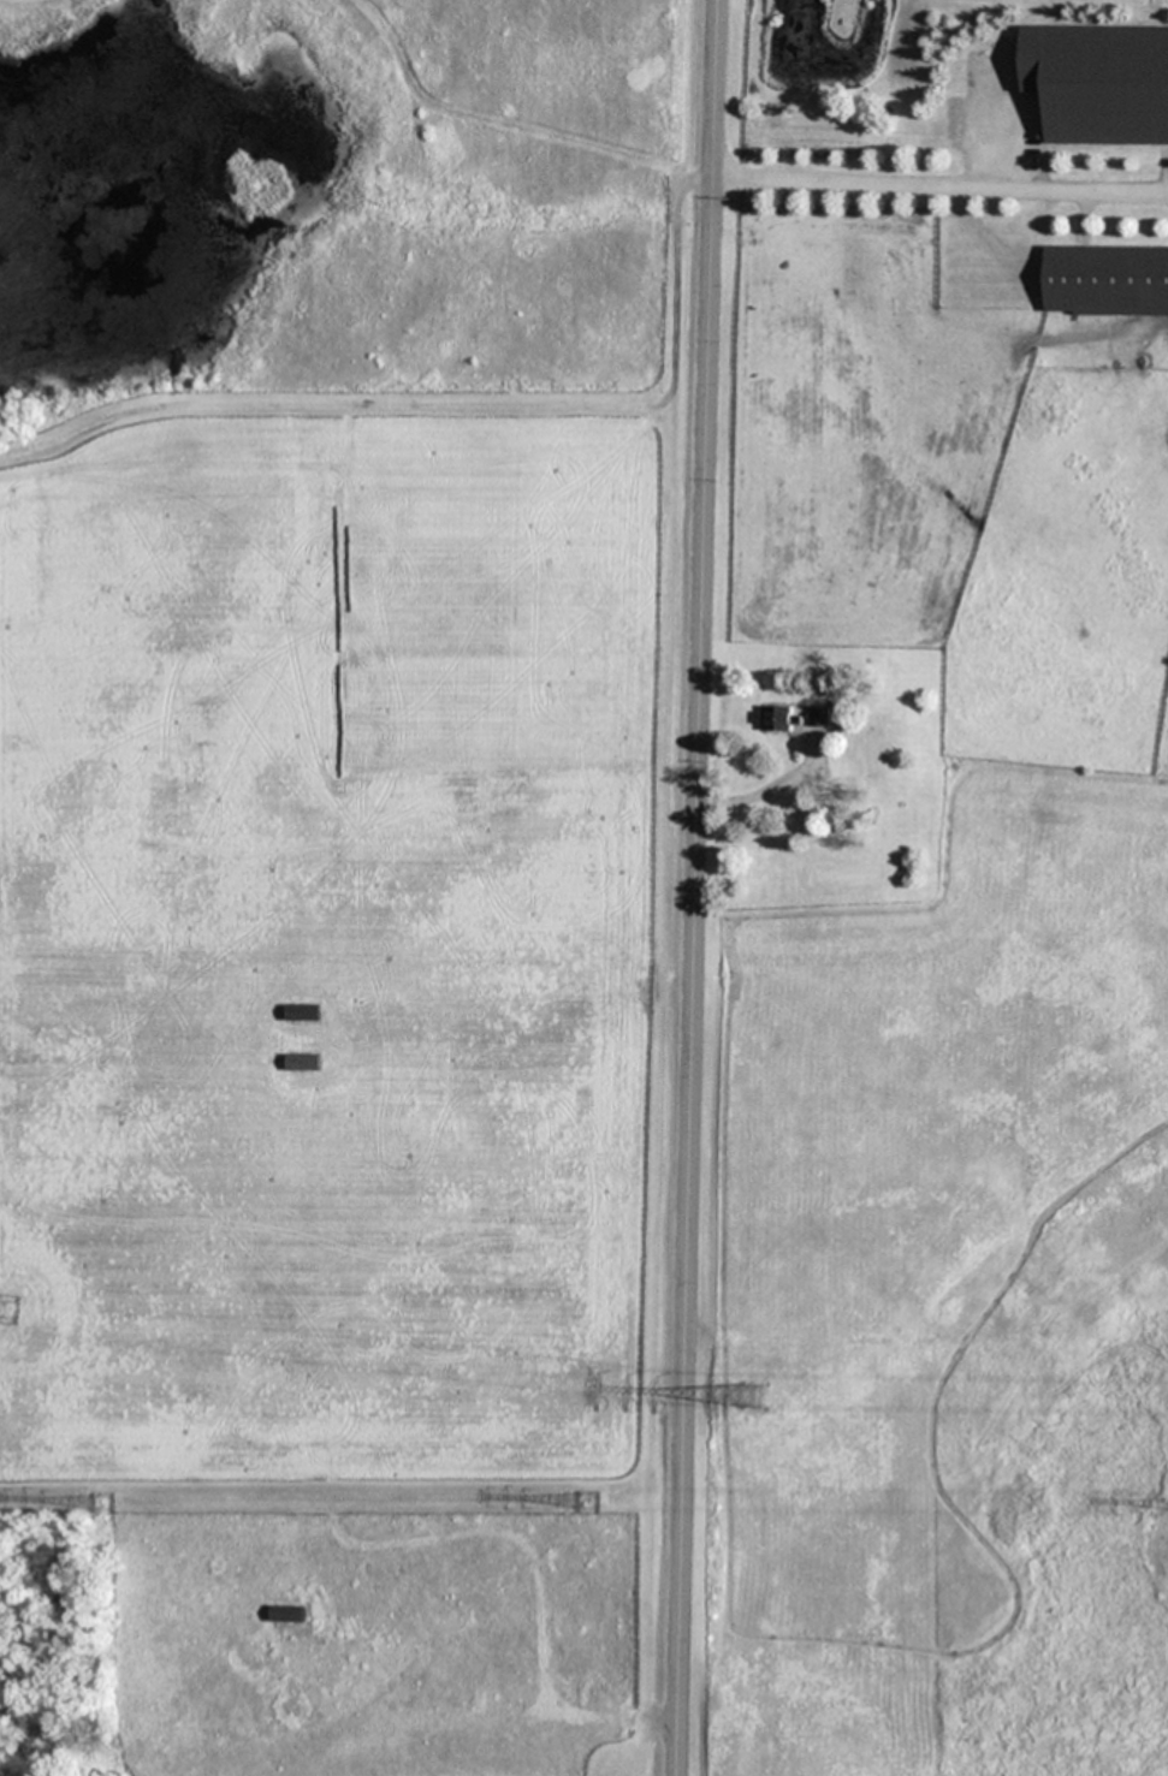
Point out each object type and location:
building: (1101, 82)
road: (939, 190)
building: (1107, 280)
building: (819, 715)
crop: (591, 877)
road: (696, 887)
building: (306, 1012)
building: (304, 1062)
power tower: (5, 1309)
power tower: (749, 1394)
power tower: (588, 1501)
power tower: (101, 1502)

